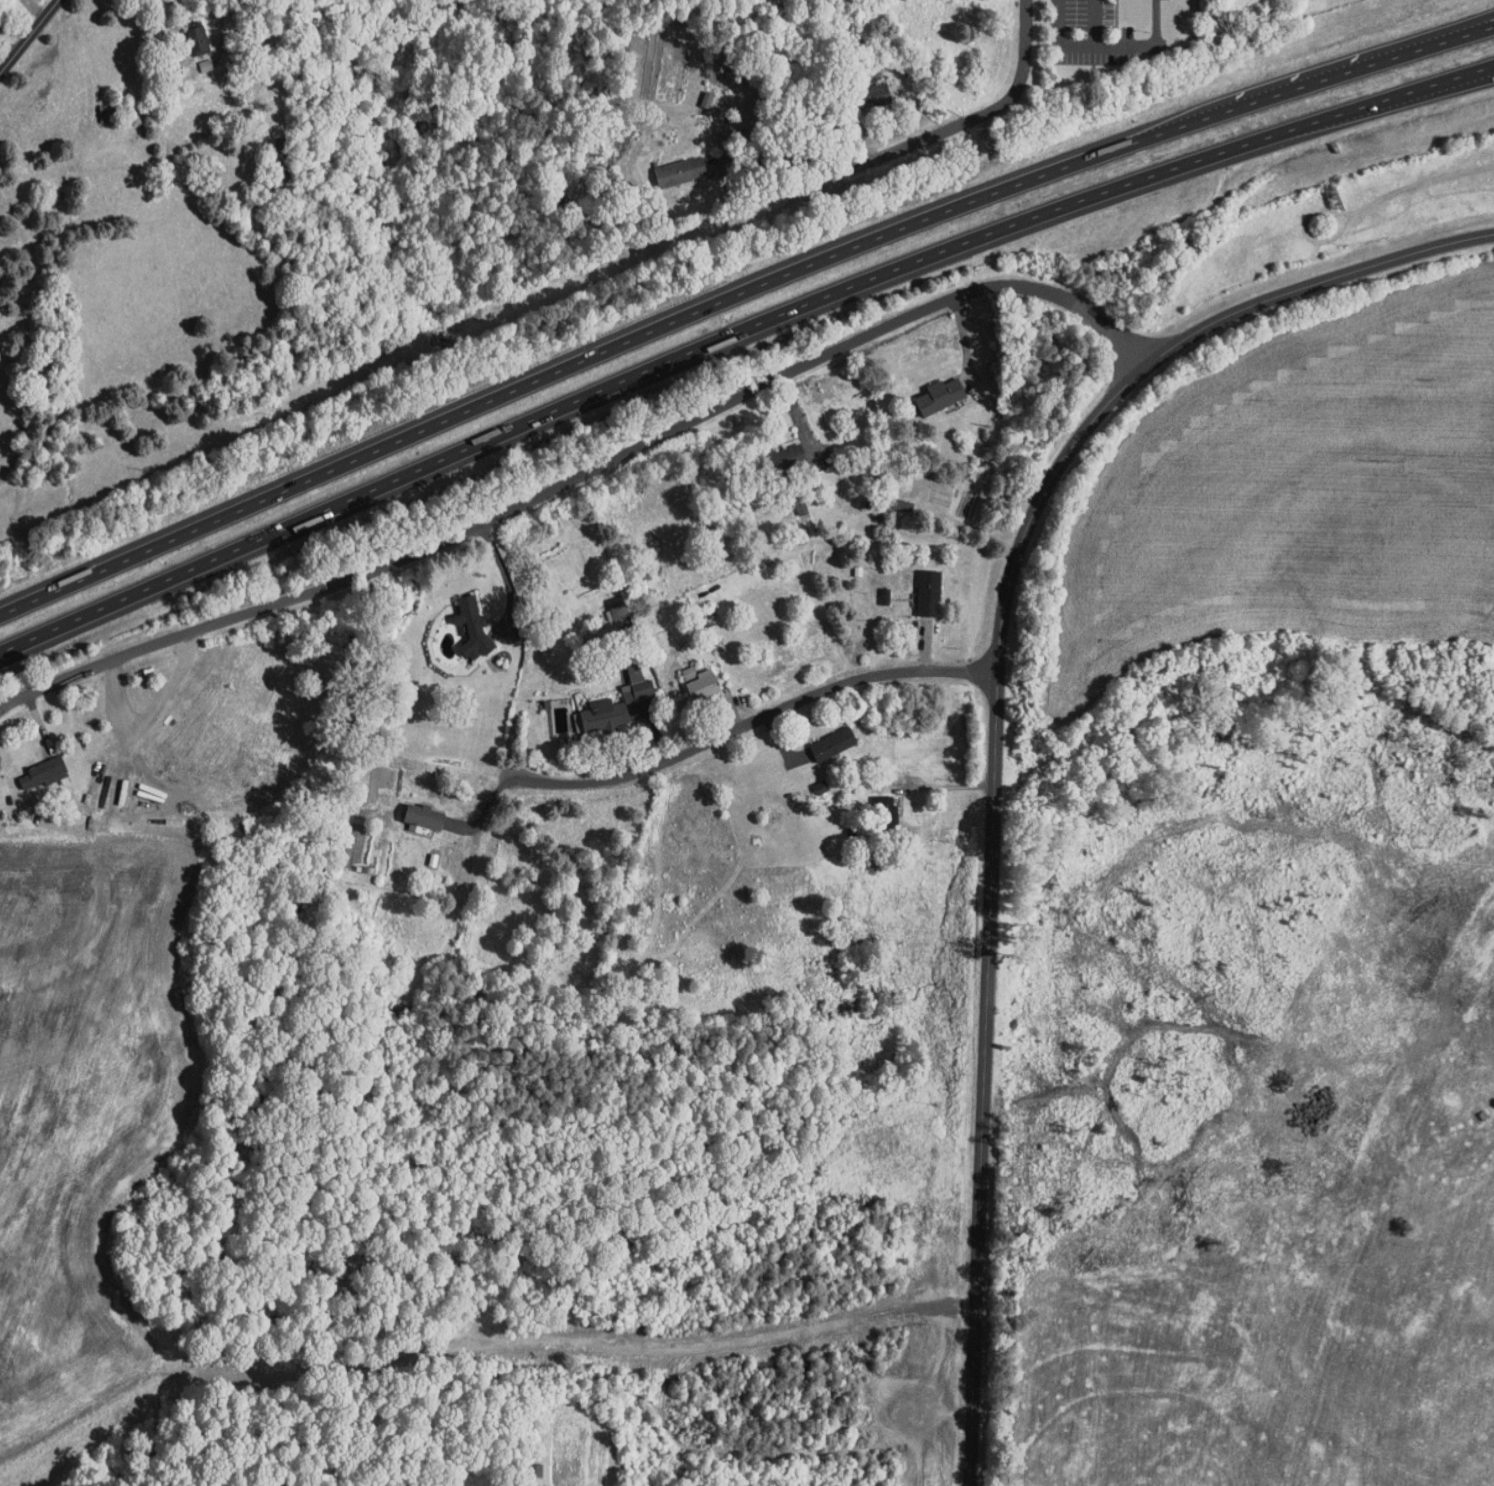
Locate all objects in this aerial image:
road: (1097, 23)
road: (30, 34)
building: (199, 41)
road: (1100, 46)
road: (1339, 68)
road: (1449, 81)
building: (876, 94)
building: (111, 118)
road: (937, 139)
road: (752, 152)
building: (682, 173)
road: (1315, 281)
road: (736, 293)
road: (736, 331)
road: (747, 389)
building: (941, 397)
building: (930, 594)
building: (475, 628)
road: (164, 636)
building: (702, 684)
building: (639, 685)
building: (603, 717)
road: (742, 724)
building: (834, 745)
building: (45, 774)
road: (489, 798)
building: (886, 814)
building: (425, 819)
road: (591, 894)
road: (985, 901)

